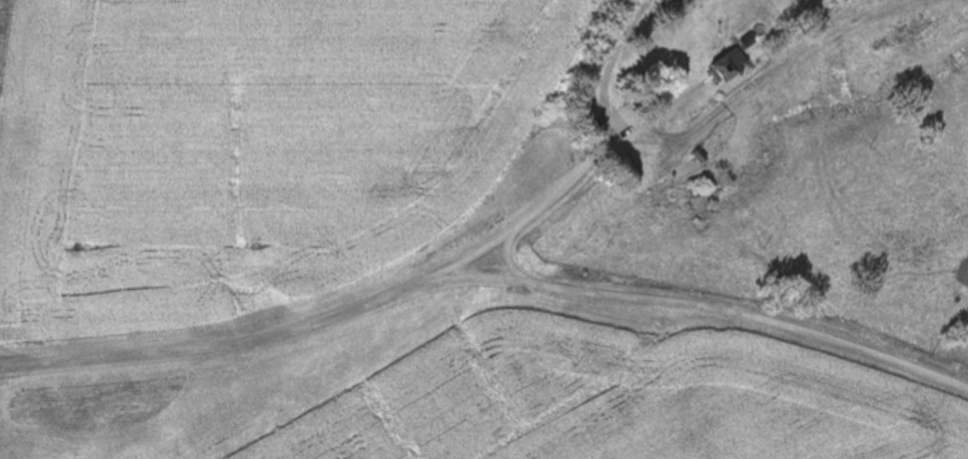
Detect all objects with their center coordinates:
building: (752, 43)
building: (735, 66)
road: (400, 300)
road: (726, 307)

